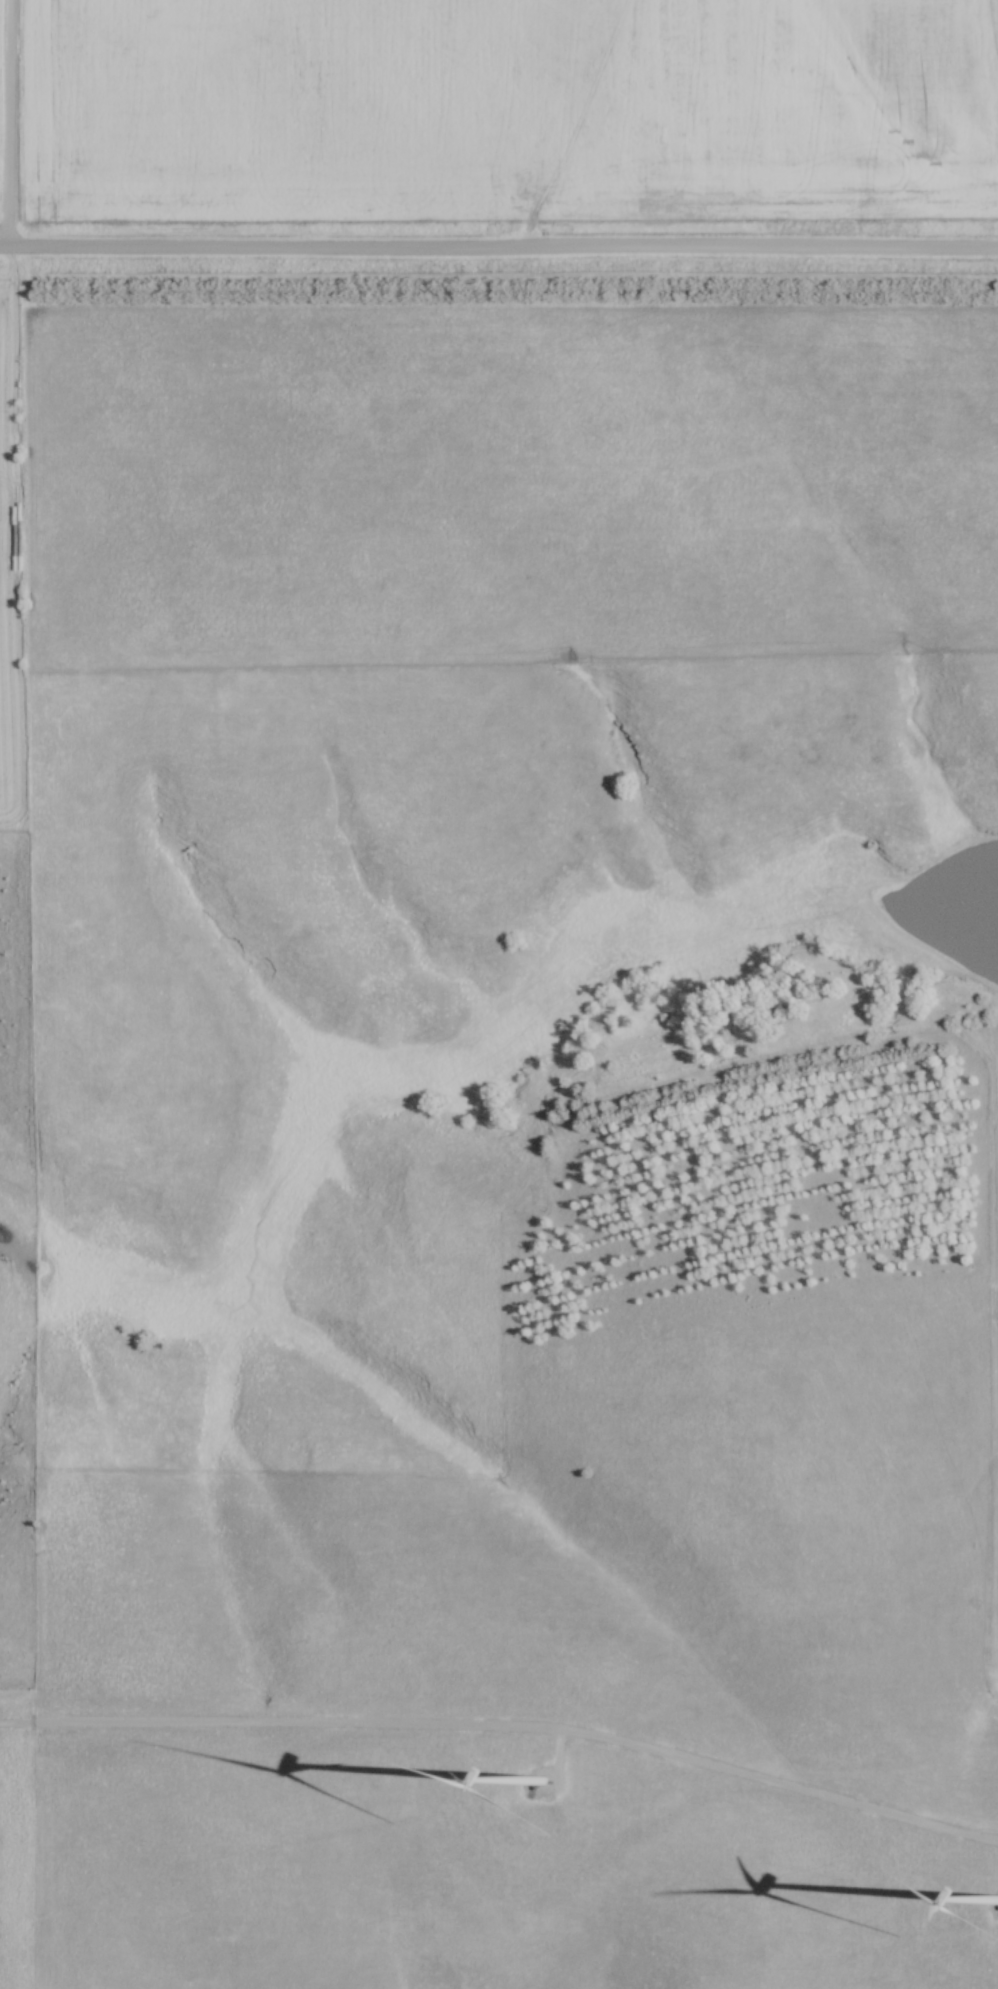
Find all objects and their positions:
road: (8, 122)
road: (499, 248)
road: (506, 1724)
road: (559, 1751)
wind turbine: (543, 1779)

